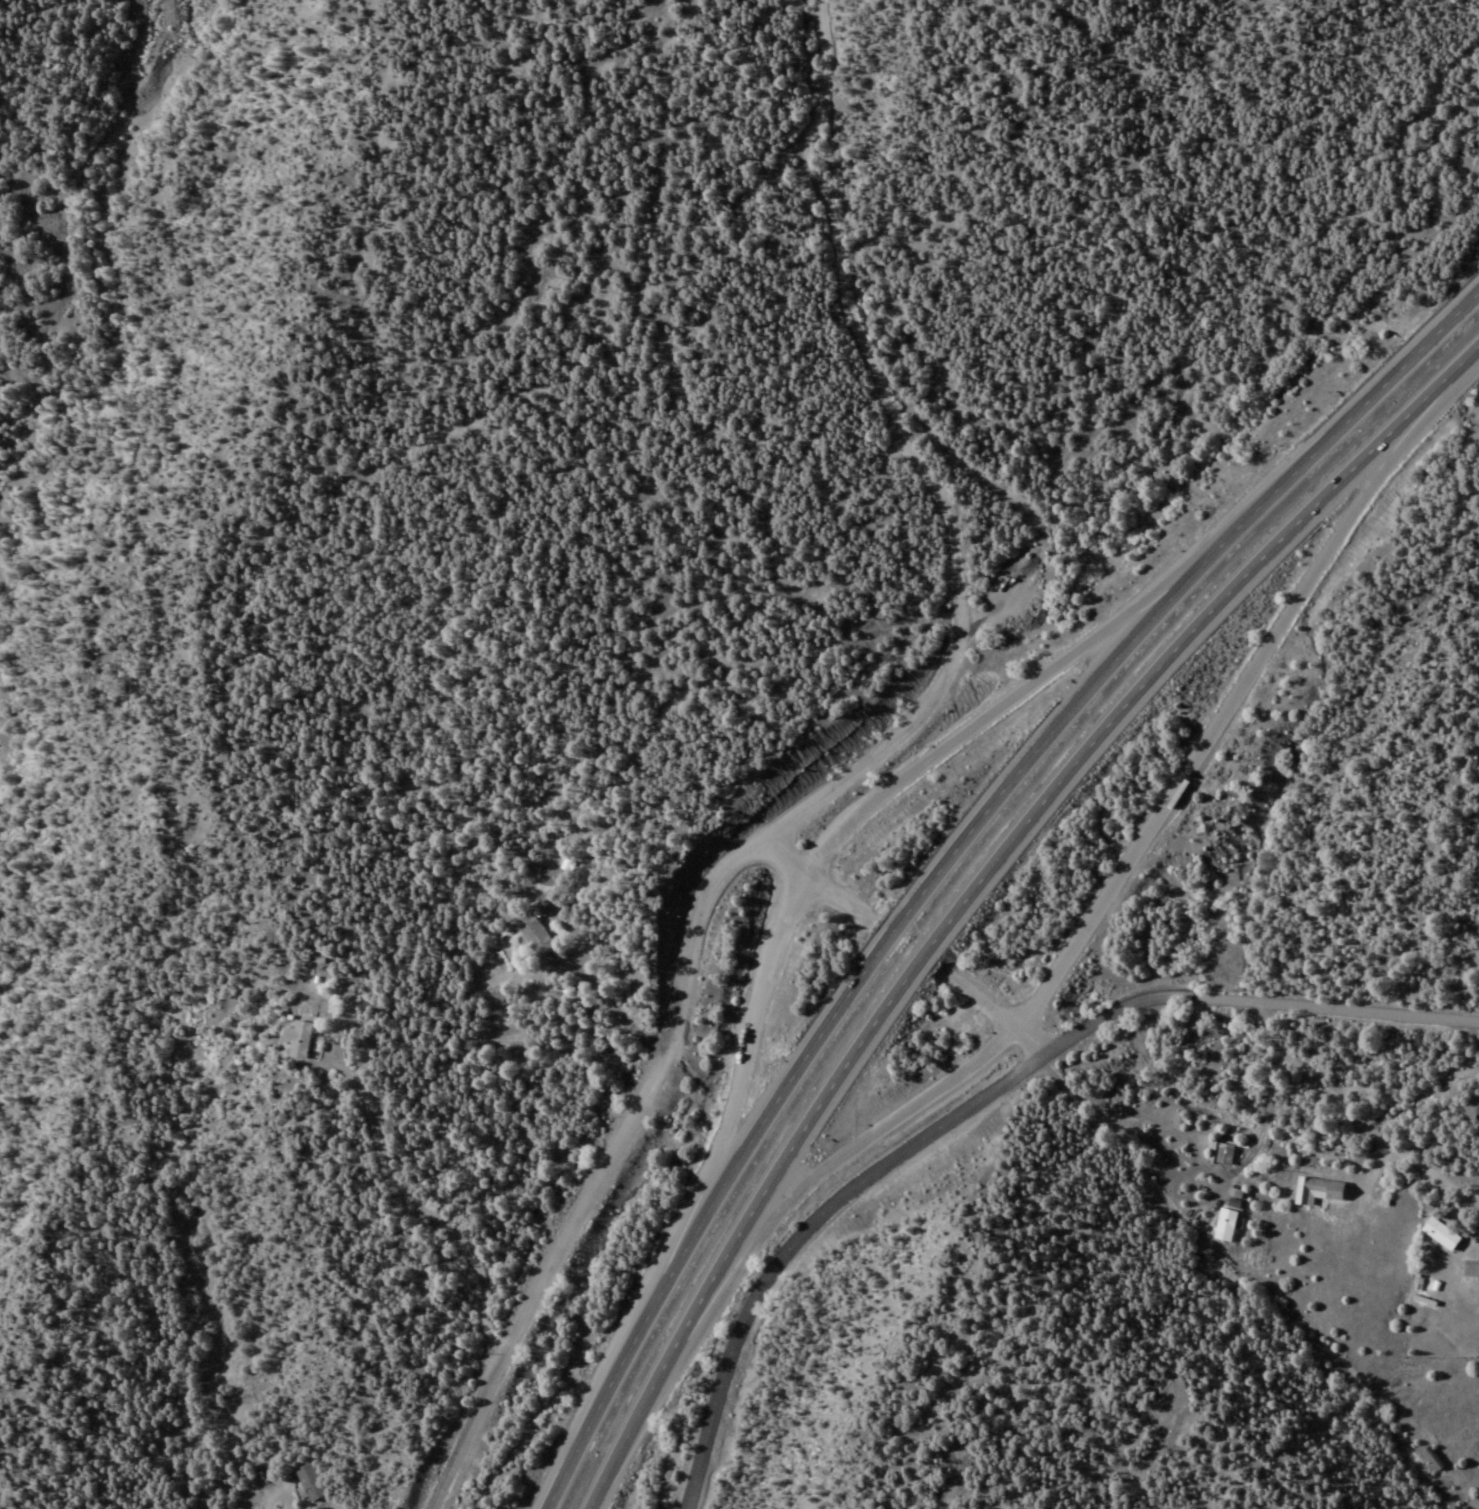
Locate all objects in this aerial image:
road: (1018, 702)
road: (1223, 712)
road: (835, 780)
road: (950, 852)
road: (812, 882)
road: (978, 883)
building: (532, 934)
road: (1254, 1002)
road: (986, 1012)
building: (296, 1039)
road: (731, 1084)
building: (1469, 1107)
road: (1344, 1116)
road: (863, 1131)
building: (1316, 1191)
road: (409, 1204)
road: (791, 1227)
building: (1439, 1234)
building: (1431, 1459)
building: (309, 1482)
road: (265, 1496)

